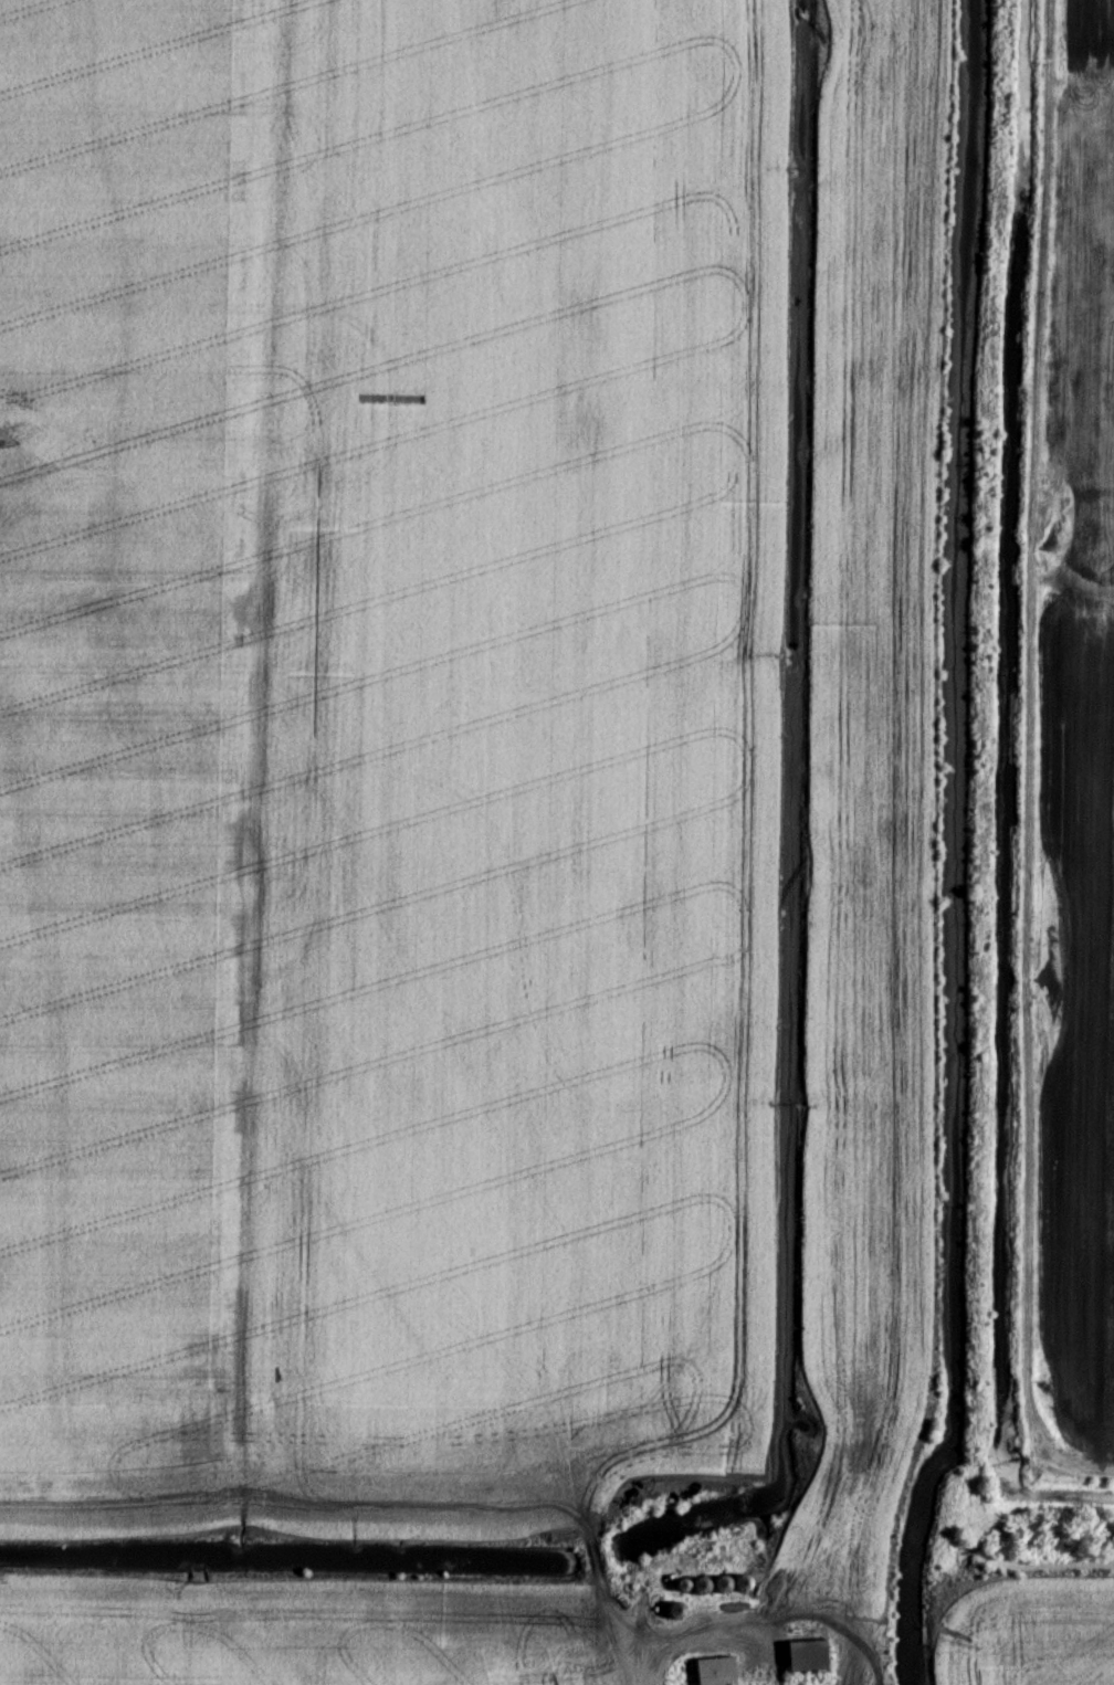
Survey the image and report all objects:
road: (761, 1629)
building: (799, 1653)
building: (707, 1670)

